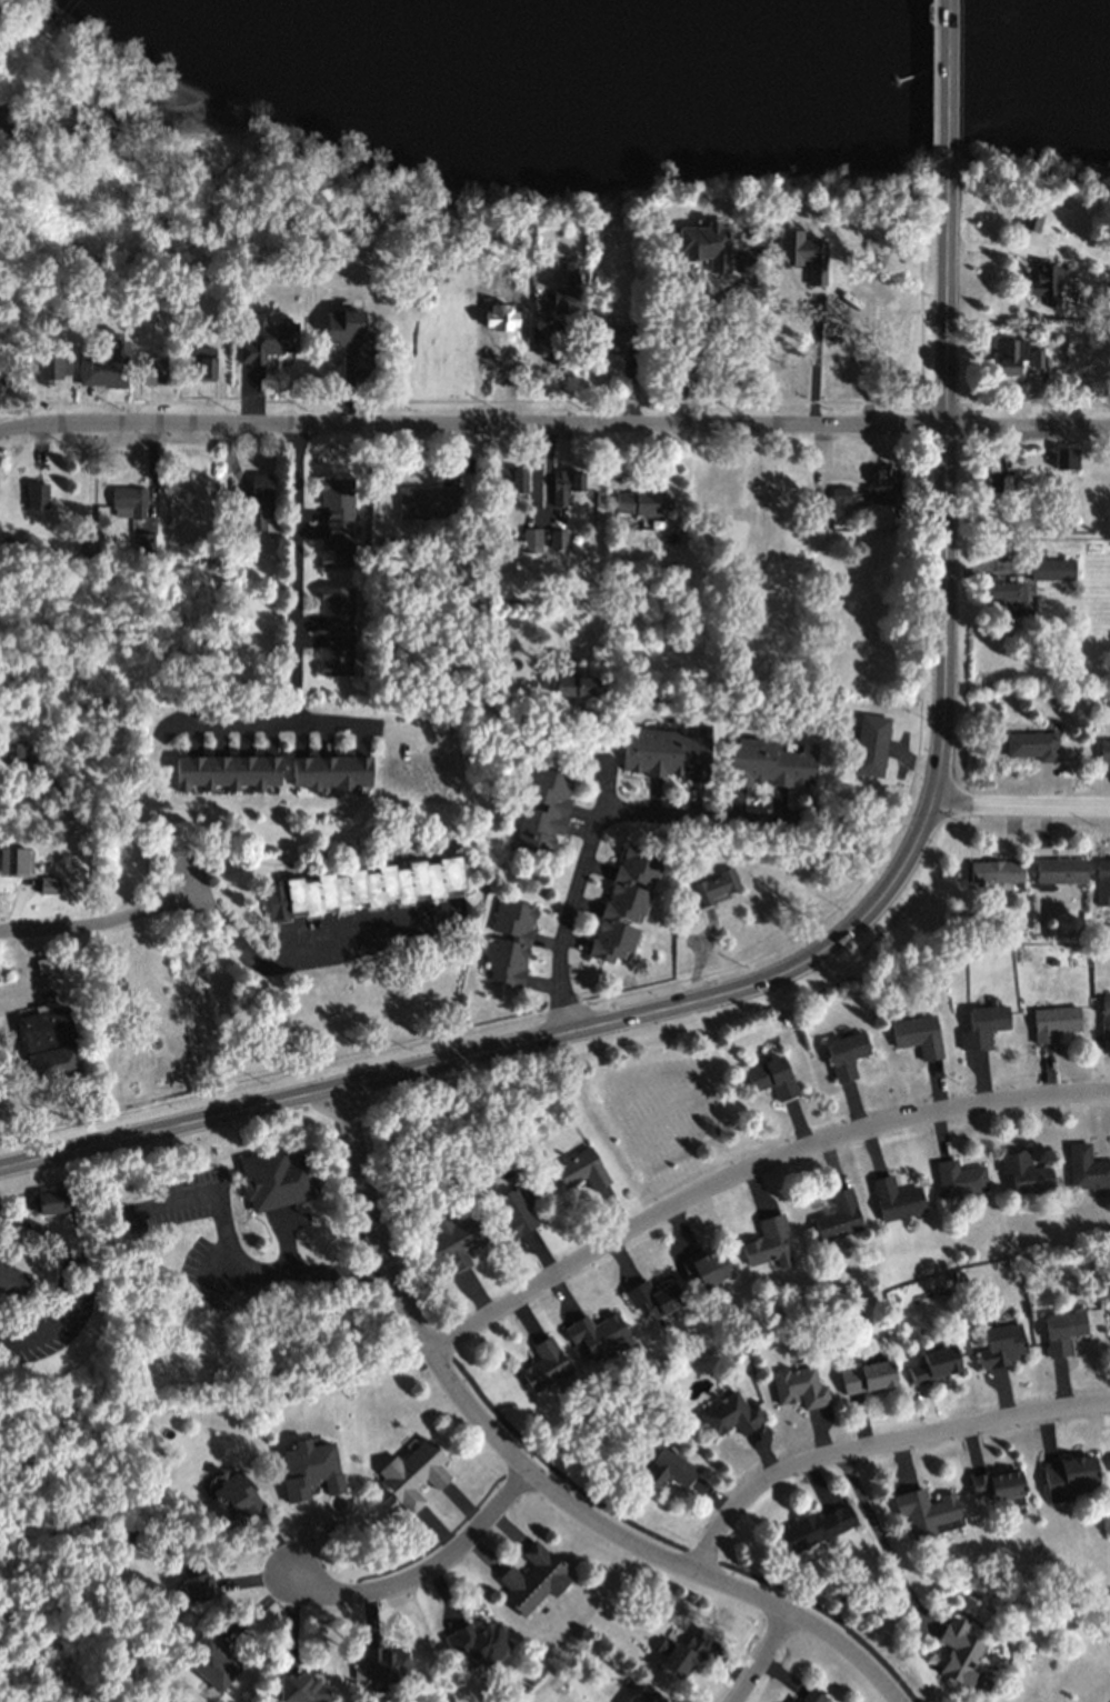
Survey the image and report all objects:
road: (948, 101)
building: (1030, 221)
building: (717, 246)
road: (994, 248)
building: (806, 253)
building: (573, 272)
building: (1050, 283)
building: (564, 301)
building: (858, 307)
building: (348, 331)
building: (627, 339)
building: (264, 342)
building: (561, 348)
building: (1009, 356)
building: (1037, 357)
building: (202, 362)
building: (51, 367)
building: (100, 370)
building: (150, 370)
building: (4, 384)
building: (839, 389)
street lamp: (227, 408)
road: (471, 428)
road: (1027, 429)
building: (1066, 458)
road: (230, 469)
building: (996, 475)
building: (510, 481)
building: (568, 485)
building: (886, 488)
building: (37, 497)
building: (427, 501)
building: (840, 501)
building: (264, 502)
building: (128, 503)
building: (647, 504)
building: (238, 523)
building: (337, 523)
building: (530, 537)
building: (558, 540)
building: (143, 543)
building: (387, 543)
building: (7, 544)
building: (86, 550)
building: (1051, 570)
road: (293, 575)
road: (600, 594)
building: (1011, 598)
building: (336, 632)
building: (571, 680)
road: (270, 723)
building: (871, 745)
building: (1032, 745)
building: (17, 748)
building: (669, 753)
building: (1104, 754)
building: (772, 763)
building: (226, 772)
building: (333, 772)
building: (50, 785)
building: (544, 807)
road: (1019, 808)
building: (70, 821)
street lamp: (962, 824)
road: (590, 834)
building: (14, 862)
building: (1061, 871)
building: (998, 873)
building: (1102, 883)
building: (50, 884)
building: (713, 888)
building: (362, 889)
road: (17, 903)
building: (624, 907)
road: (98, 923)
building: (507, 944)
road: (308, 959)
building: (48, 964)
street lamp: (740, 965)
road: (794, 967)
road: (27, 991)
parking lot: (31, 992)
street lamp: (588, 1002)
building: (1106, 1017)
building: (1056, 1023)
building: (983, 1028)
building: (919, 1035)
building: (50, 1043)
street lamp: (404, 1047)
building: (847, 1055)
building: (772, 1078)
road: (749, 1163)
building: (1086, 1165)
building: (584, 1168)
building: (1024, 1170)
building: (959, 1177)
building: (277, 1180)
building: (896, 1197)
building: (50, 1204)
building: (514, 1208)
building: (838, 1214)
building: (458, 1240)
building: (767, 1240)
road: (282, 1242)
building: (707, 1264)
road: (244, 1270)
building: (11, 1279)
road: (63, 1280)
building: (651, 1294)
building: (1062, 1328)
building: (597, 1334)
building: (1002, 1342)
building: (934, 1362)
building: (547, 1368)
building: (867, 1375)
building: (799, 1384)
building: (730, 1413)
road: (874, 1438)
building: (667, 1466)
building: (309, 1470)
road: (531, 1471)
building: (416, 1474)
building: (1070, 1475)
building: (999, 1481)
building: (236, 1494)
building: (927, 1509)
building: (814, 1524)
road: (878, 1533)
road: (672, 1542)
road: (423, 1571)
building: (532, 1576)
building: (199, 1579)
building: (478, 1641)
building: (684, 1646)
building: (959, 1650)
road: (756, 1654)
building: (216, 1662)
building: (383, 1664)
building: (300, 1688)
building: (646, 1694)
building: (813, 1695)

